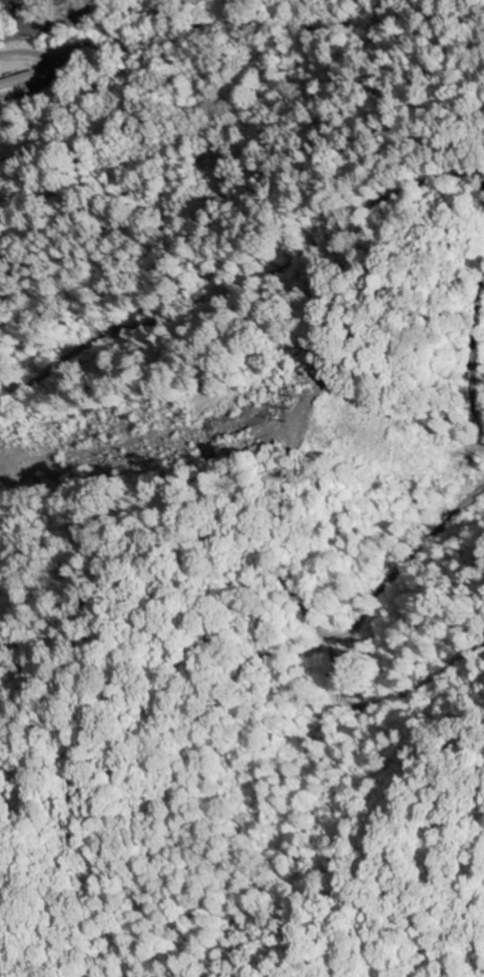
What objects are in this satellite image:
road: (11, 17)
road: (50, 24)
building: (14, 79)
power tower: (302, 415)

